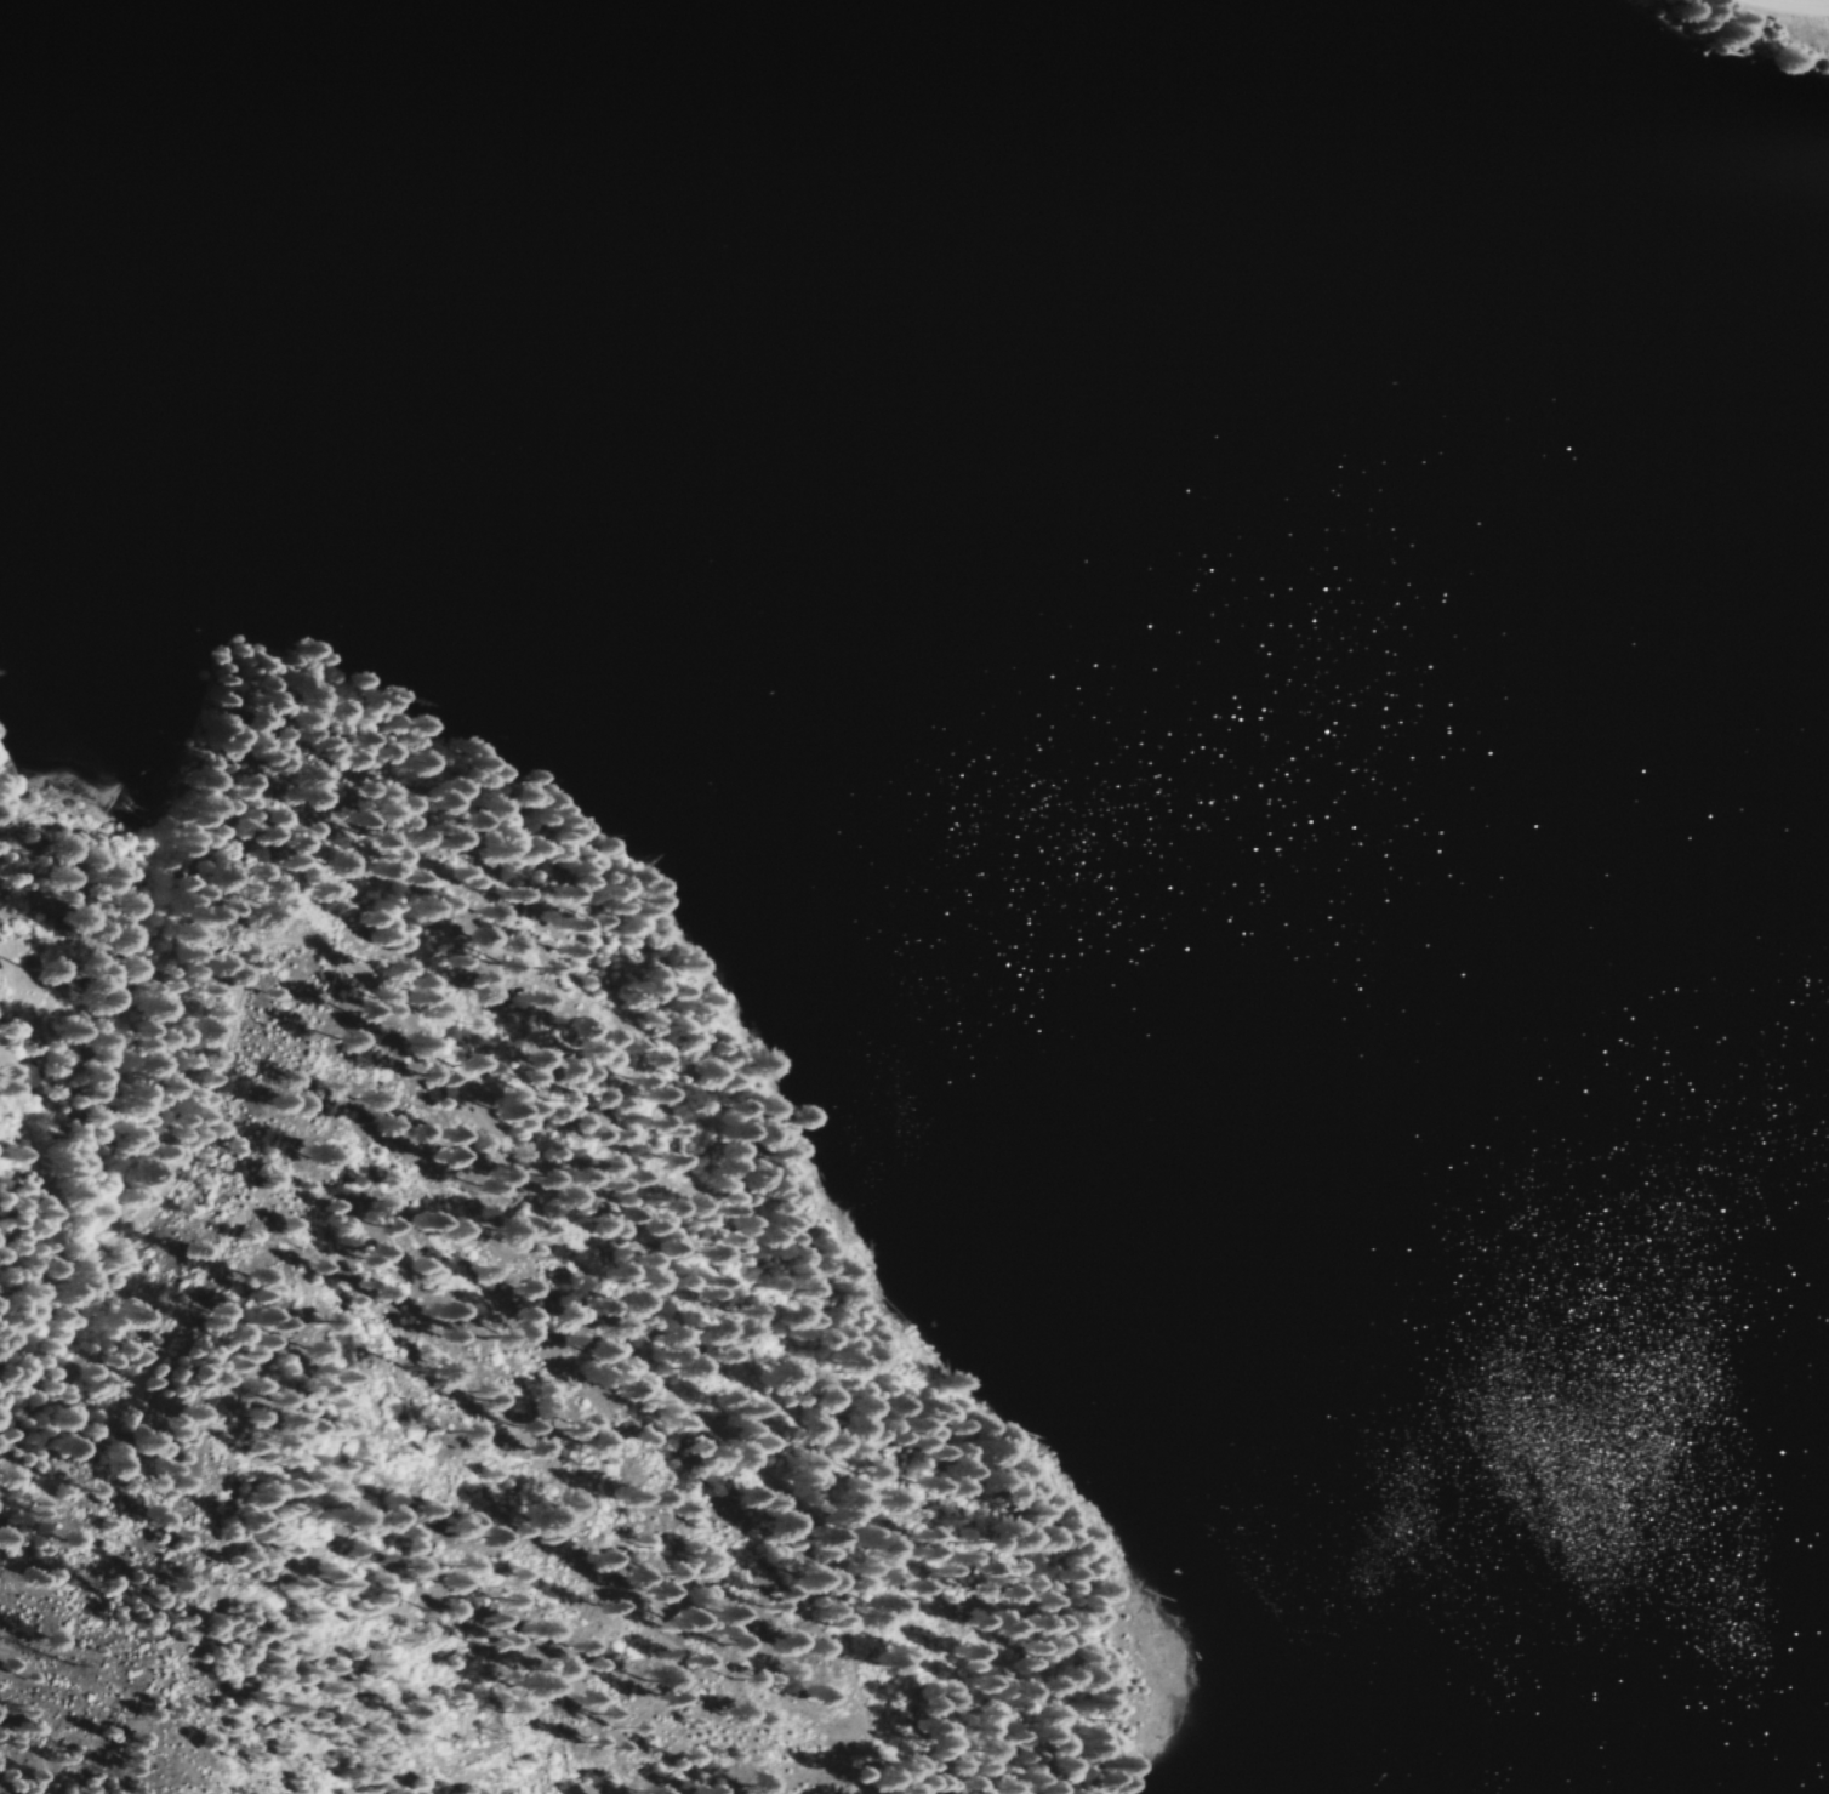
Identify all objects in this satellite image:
road: (1824, 0)
road: (463, 1127)

